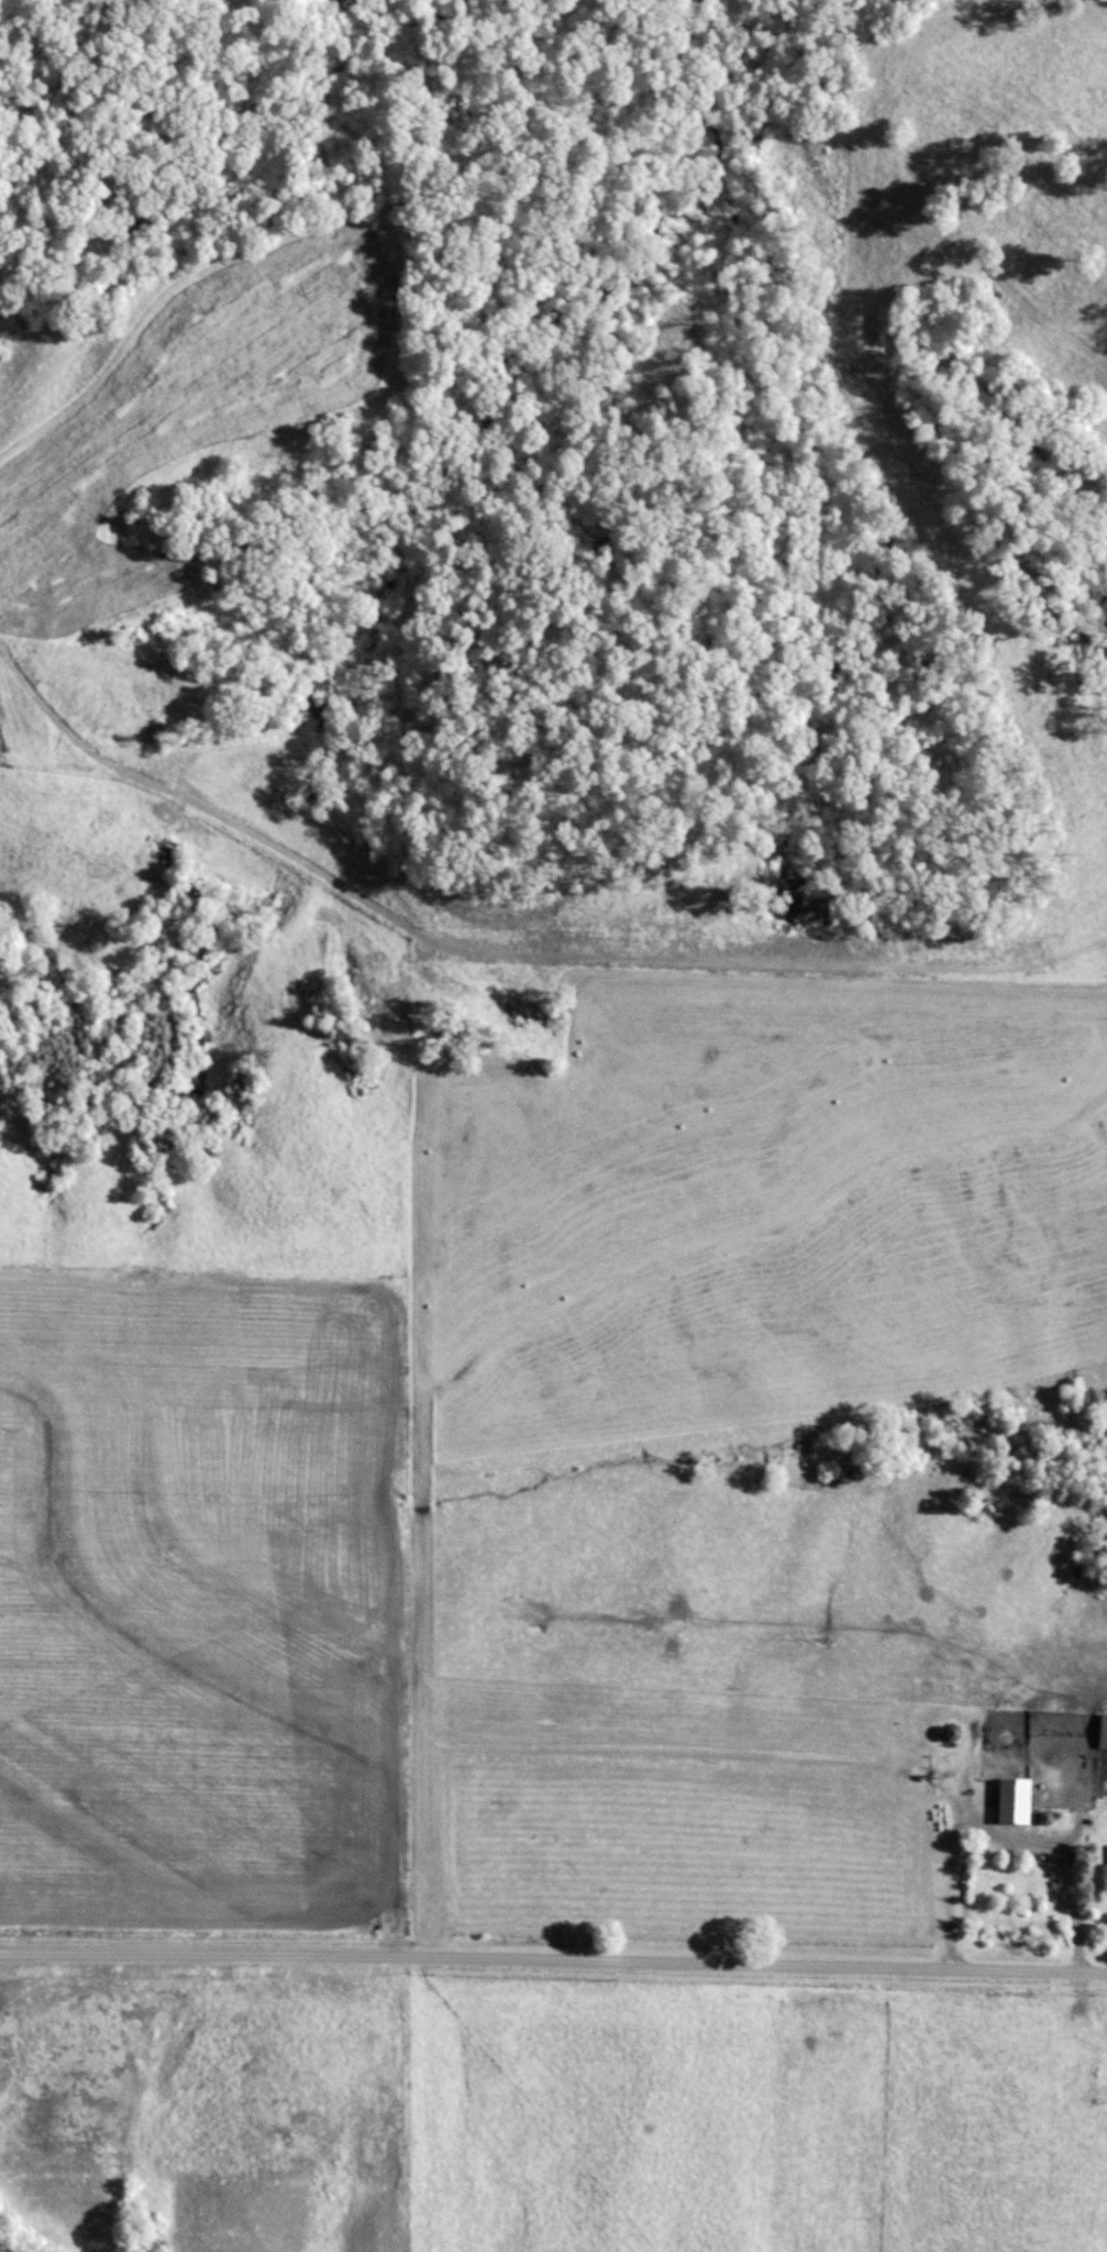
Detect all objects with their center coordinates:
building: (1012, 1801)
road: (553, 1957)

